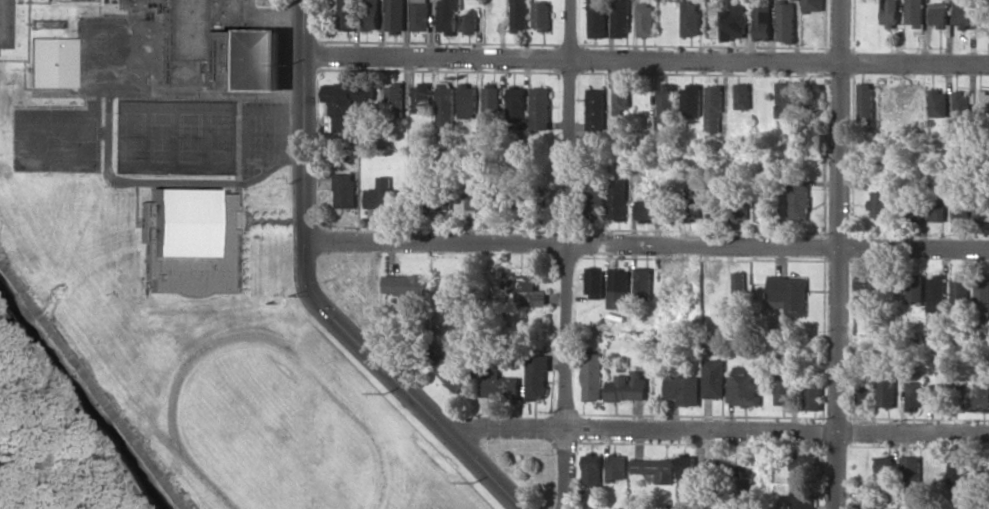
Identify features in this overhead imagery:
building: (127, 4)
building: (815, 5)
building: (916, 12)
building: (521, 14)
building: (940, 14)
building: (964, 14)
building: (348, 15)
building: (372, 15)
building: (421, 15)
building: (449, 15)
building: (542, 15)
building: (984, 15)
building: (397, 16)
building: (598, 18)
building: (622, 18)
building: (692, 18)
building: (648, 20)
building: (736, 20)
building: (765, 20)
building: (788, 21)
building: (470, 22)
building: (2, 24)
building: (218, 47)
road: (646, 59)
building: (49, 61)
building: (744, 95)
building: (814, 95)
building: (349, 96)
building: (423, 96)
building: (918, 97)
building: (622, 98)
building: (396, 99)
building: (788, 99)
building: (469, 101)
building: (491, 101)
building: (693, 101)
building: (867, 101)
building: (668, 102)
building: (983, 102)
building: (517, 103)
building: (939, 103)
building: (447, 105)
building: (961, 105)
building: (541, 108)
building: (715, 108)
building: (596, 113)
building: (343, 122)
building: (813, 135)
building: (346, 190)
building: (384, 195)
building: (478, 196)
building: (595, 197)
building: (618, 198)
building: (799, 198)
building: (434, 200)
building: (880, 203)
building: (716, 206)
building: (692, 207)
building: (937, 207)
building: (962, 208)
building: (645, 209)
building: (741, 209)
building: (764, 209)
building: (983, 210)
building: (185, 239)
road: (645, 242)
road: (569, 254)
road: (841, 254)
building: (595, 281)
building: (643, 283)
building: (739, 283)
building: (915, 287)
building: (619, 288)
building: (865, 290)
building: (961, 290)
building: (531, 291)
building: (937, 293)
building: (788, 294)
building: (982, 294)
road: (311, 295)
building: (405, 310)
building: (985, 322)
building: (452, 371)
building: (538, 374)
building: (594, 376)
building: (714, 378)
building: (502, 386)
building: (628, 386)
building: (682, 387)
building: (742, 387)
building: (784, 389)
building: (887, 390)
building: (937, 392)
building: (813, 394)
building: (983, 394)
building: (915, 395)
road: (718, 430)
building: (803, 461)
building: (885, 463)
building: (617, 466)
building: (688, 466)
building: (656, 468)
building: (593, 469)
building: (957, 472)
building: (912, 474)
building: (803, 498)
building: (863, 499)

